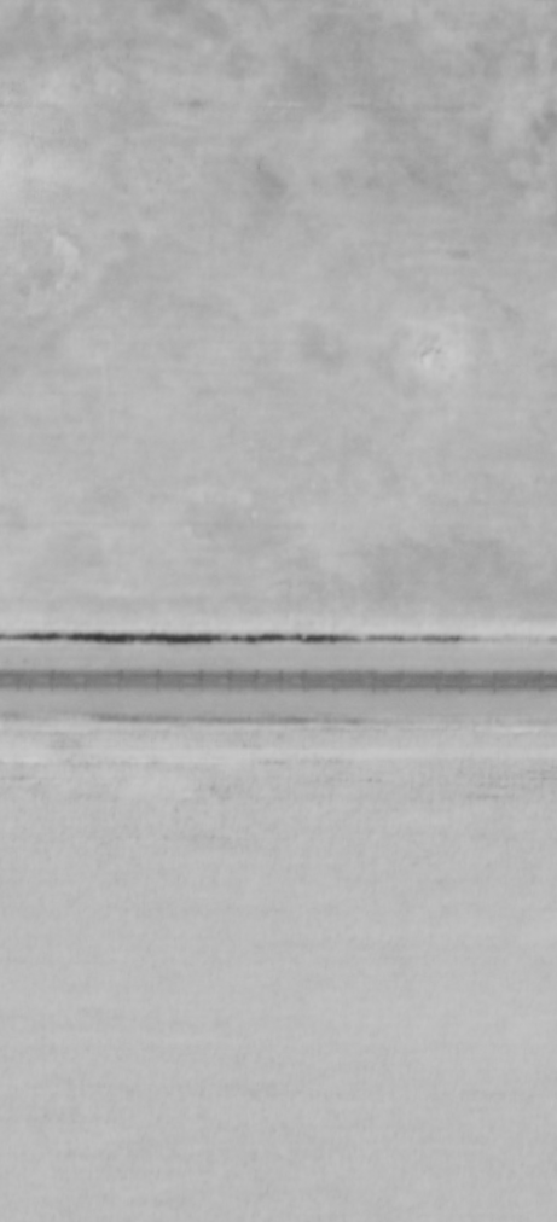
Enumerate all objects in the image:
road: (278, 680)

